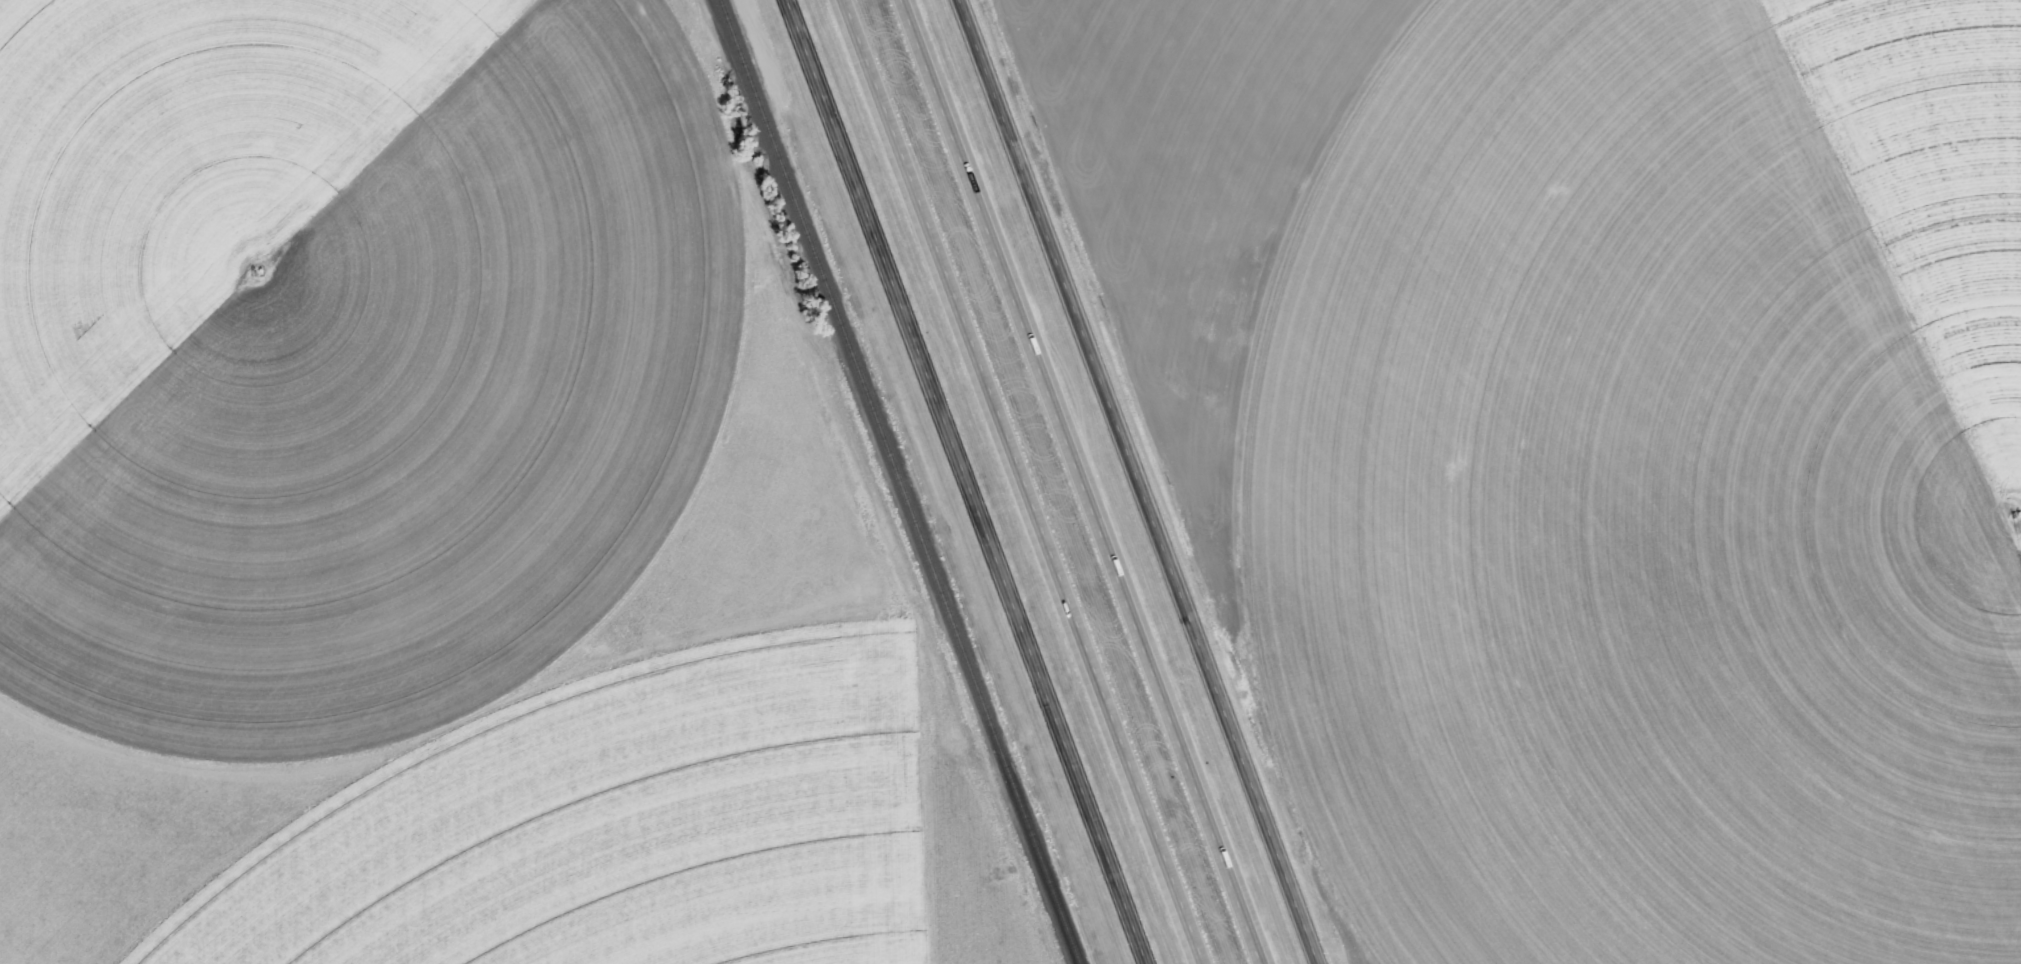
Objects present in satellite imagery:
road: (1913, 121)
road: (1024, 481)
road: (1085, 481)
railway: (901, 482)
road: (968, 482)
road: (1145, 482)

